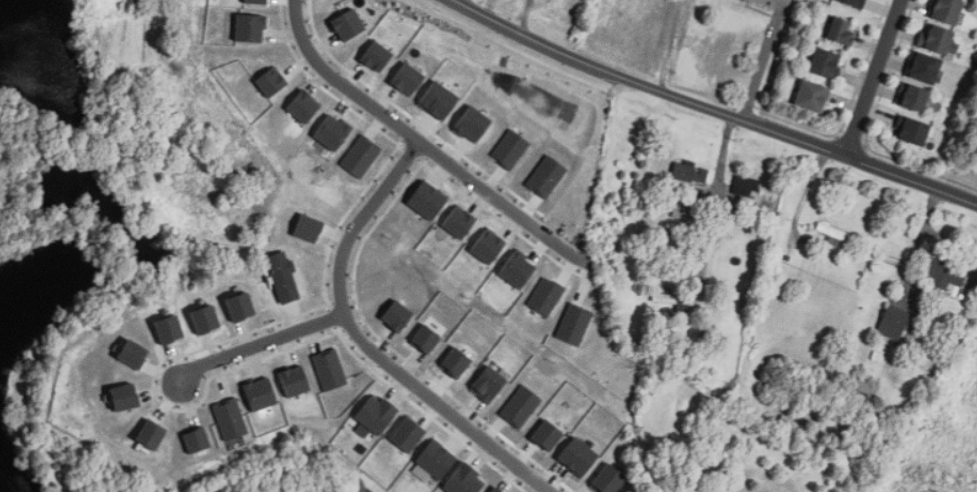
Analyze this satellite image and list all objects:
building: (255, 1)
building: (767, 3)
building: (854, 3)
building: (947, 11)
building: (346, 24)
building: (249, 26)
building: (841, 32)
building: (936, 39)
building: (376, 56)
road: (765, 60)
building: (824, 64)
building: (926, 69)
road: (875, 77)
building: (407, 78)
building: (270, 81)
building: (812, 97)
building: (913, 98)
building: (438, 99)
building: (303, 105)
road: (715, 109)
building: (471, 123)
building: (331, 131)
building: (913, 132)
road: (416, 143)
building: (509, 148)
building: (360, 156)
building: (690, 172)
building: (545, 176)
building: (745, 187)
road: (805, 192)
building: (427, 199)
road: (716, 202)
building: (681, 211)
building: (458, 222)
building: (307, 227)
building: (832, 231)
road: (949, 240)
road: (915, 244)
building: (487, 245)
building: (516, 269)
building: (944, 272)
building: (283, 276)
building: (545, 296)
building: (676, 300)
building: (239, 306)
building: (396, 314)
building: (204, 319)
building: (894, 322)
building: (572, 325)
building: (168, 328)
building: (425, 338)
road: (260, 344)
road: (367, 344)
building: (132, 353)
building: (455, 361)
building: (329, 368)
building: (294, 380)
building: (487, 383)
building: (858, 385)
building: (259, 393)
building: (124, 396)
building: (520, 405)
building: (374, 415)
building: (229, 418)
building: (800, 426)
building: (150, 434)
building: (407, 434)
building: (546, 434)
building: (195, 439)
building: (578, 456)
building: (432, 461)
building: (463, 479)
building: (607, 479)
building: (495, 490)

